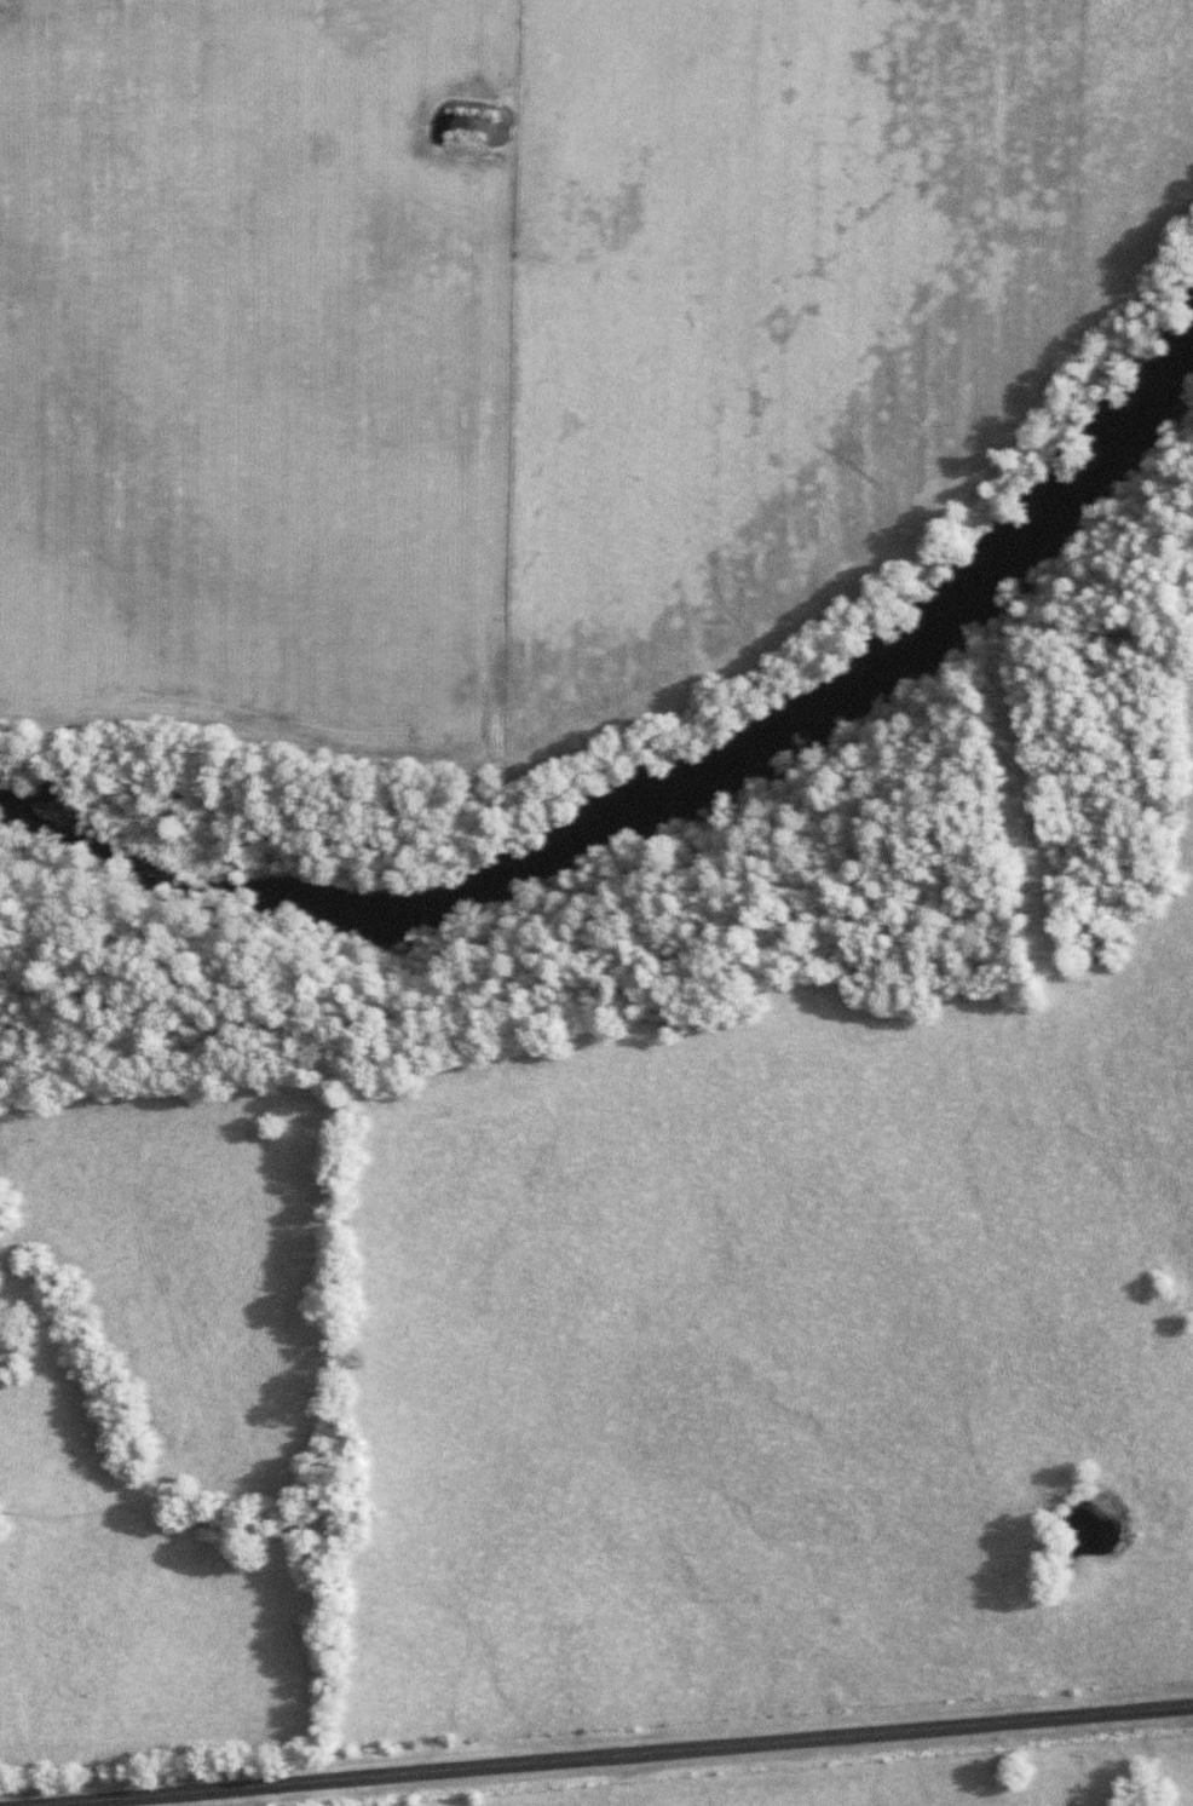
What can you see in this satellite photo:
road: (629, 1756)

